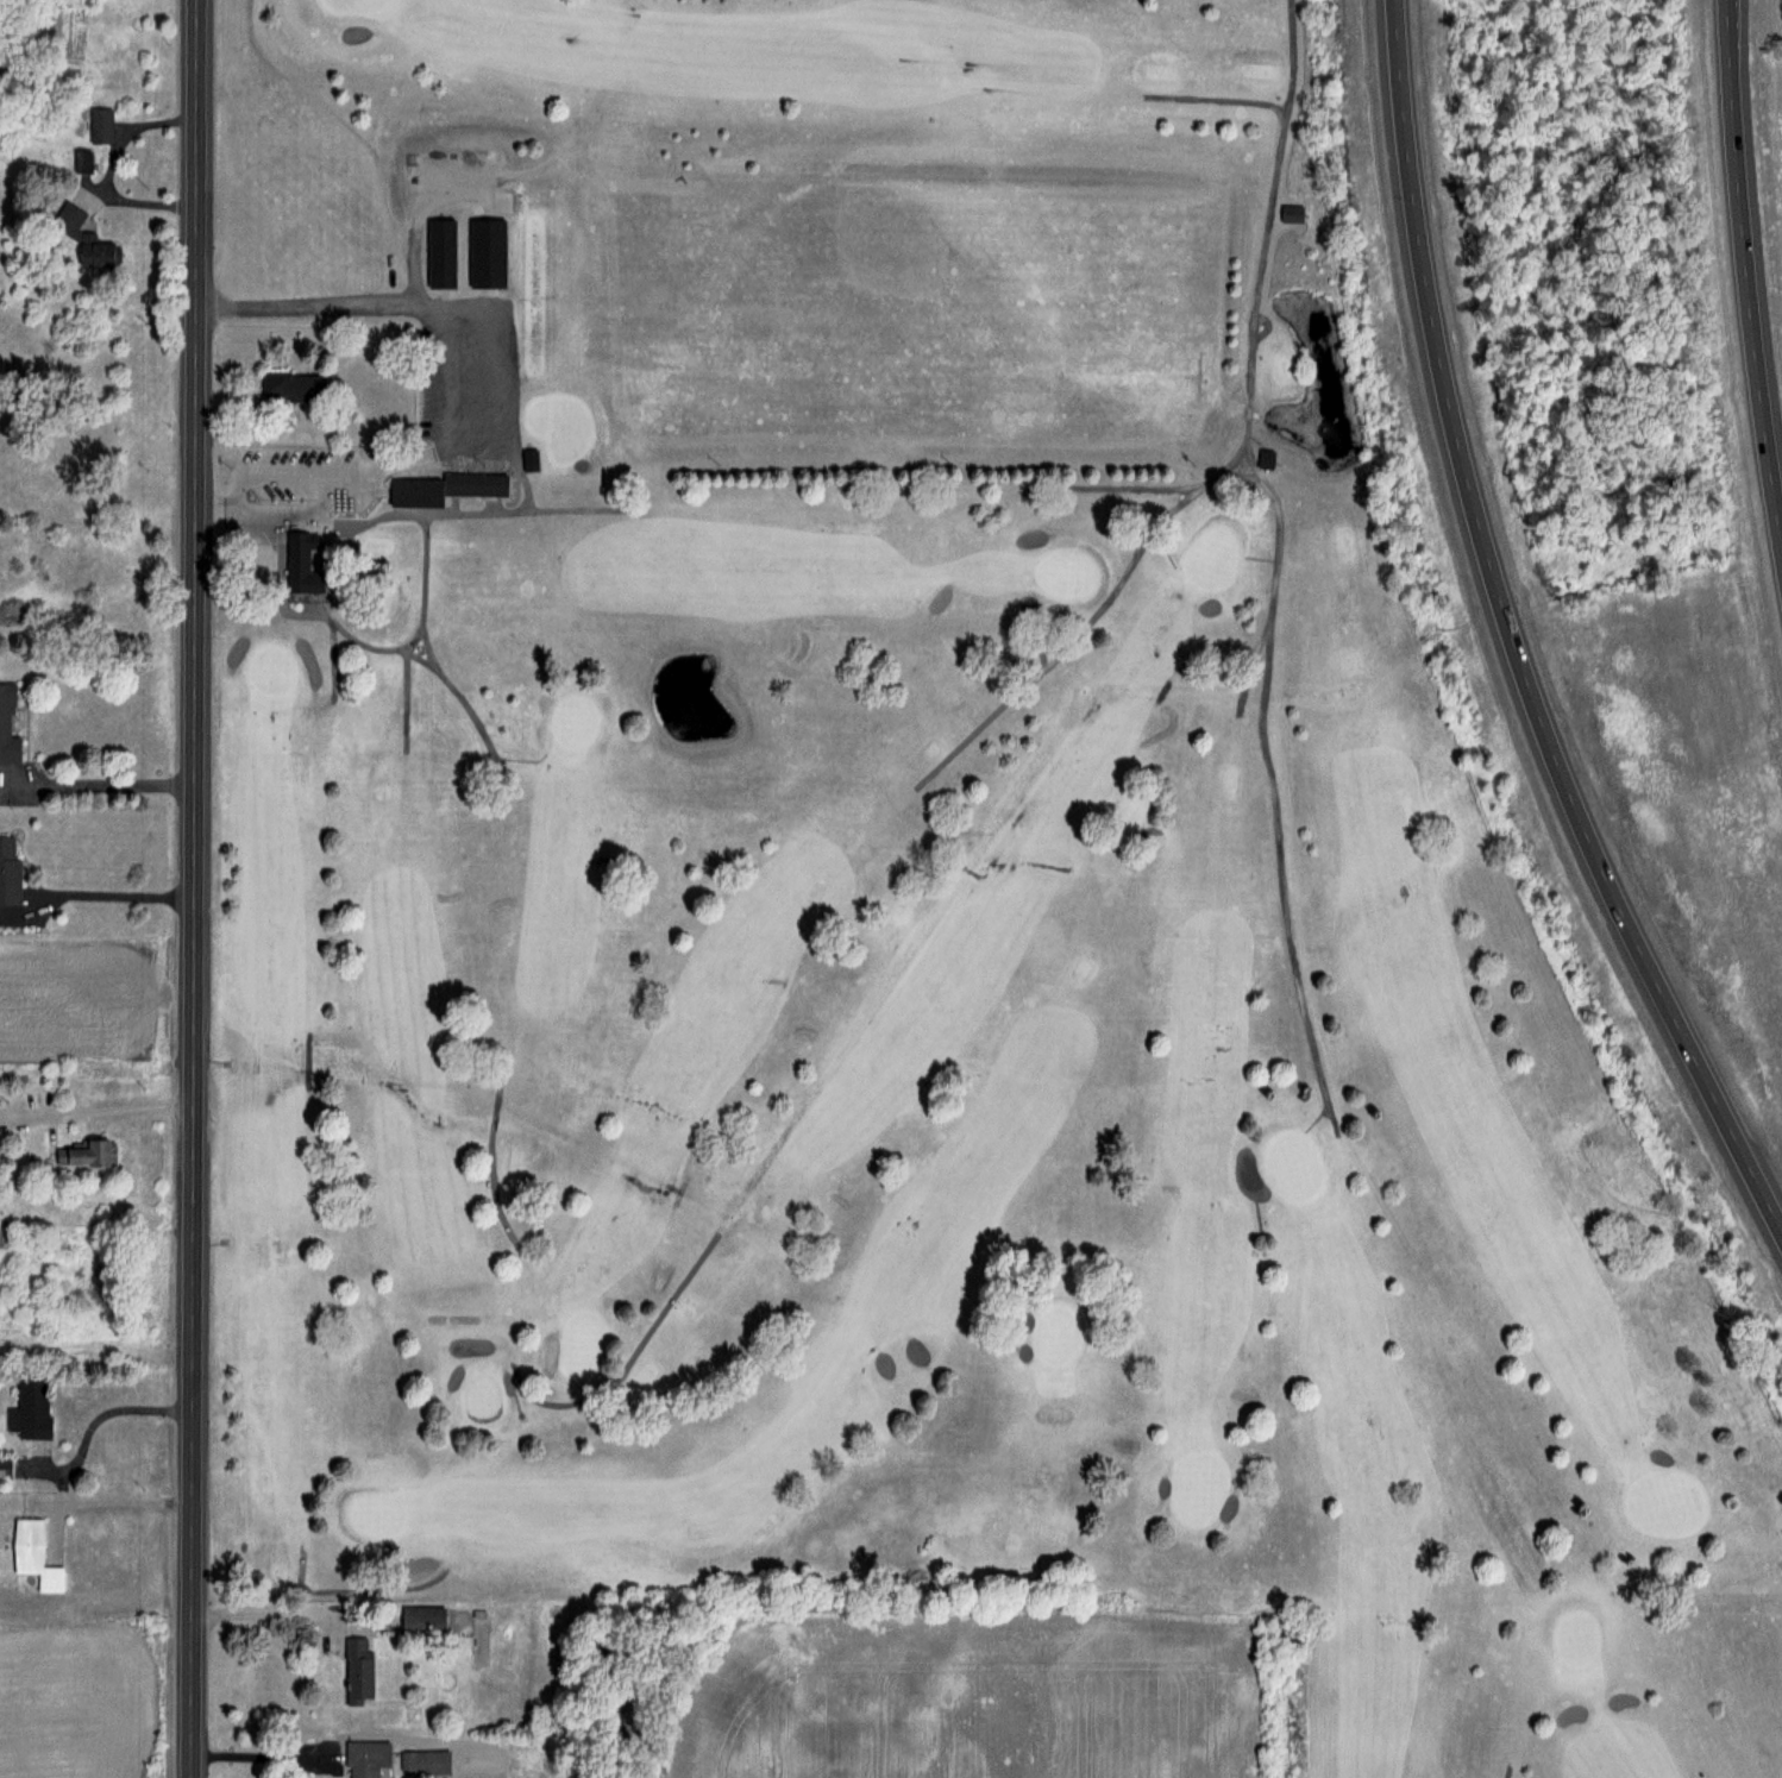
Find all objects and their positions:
road: (1292, 56)
building: (98, 124)
road: (357, 127)
road: (106, 153)
building: (82, 238)
building: (484, 251)
building: (438, 252)
road: (1750, 263)
road: (1251, 362)
parking lot: (476, 375)
road: (459, 378)
parking lot: (465, 378)
building: (289, 384)
building: (527, 457)
building: (1265, 458)
building: (440, 485)
road: (527, 485)
road: (491, 501)
road: (453, 502)
building: (299, 559)
road: (1270, 591)
road: (1512, 637)
road: (991, 715)
building: (6, 723)
road: (100, 785)
road: (1279, 859)
building: (7, 868)
park: (923, 881)
road: (195, 888)
road: (99, 1111)
road: (492, 1151)
building: (75, 1152)
road: (1770, 1181)
road: (630, 1356)
building: (27, 1409)
road: (105, 1412)
building: (620, 1412)
building: (4, 1469)
road: (123, 1497)
building: (31, 1556)
building: (884, 1590)
road: (274, 1610)
building: (419, 1621)
building: (356, 1670)
road: (261, 1755)
building: (365, 1759)
building: (422, 1761)

